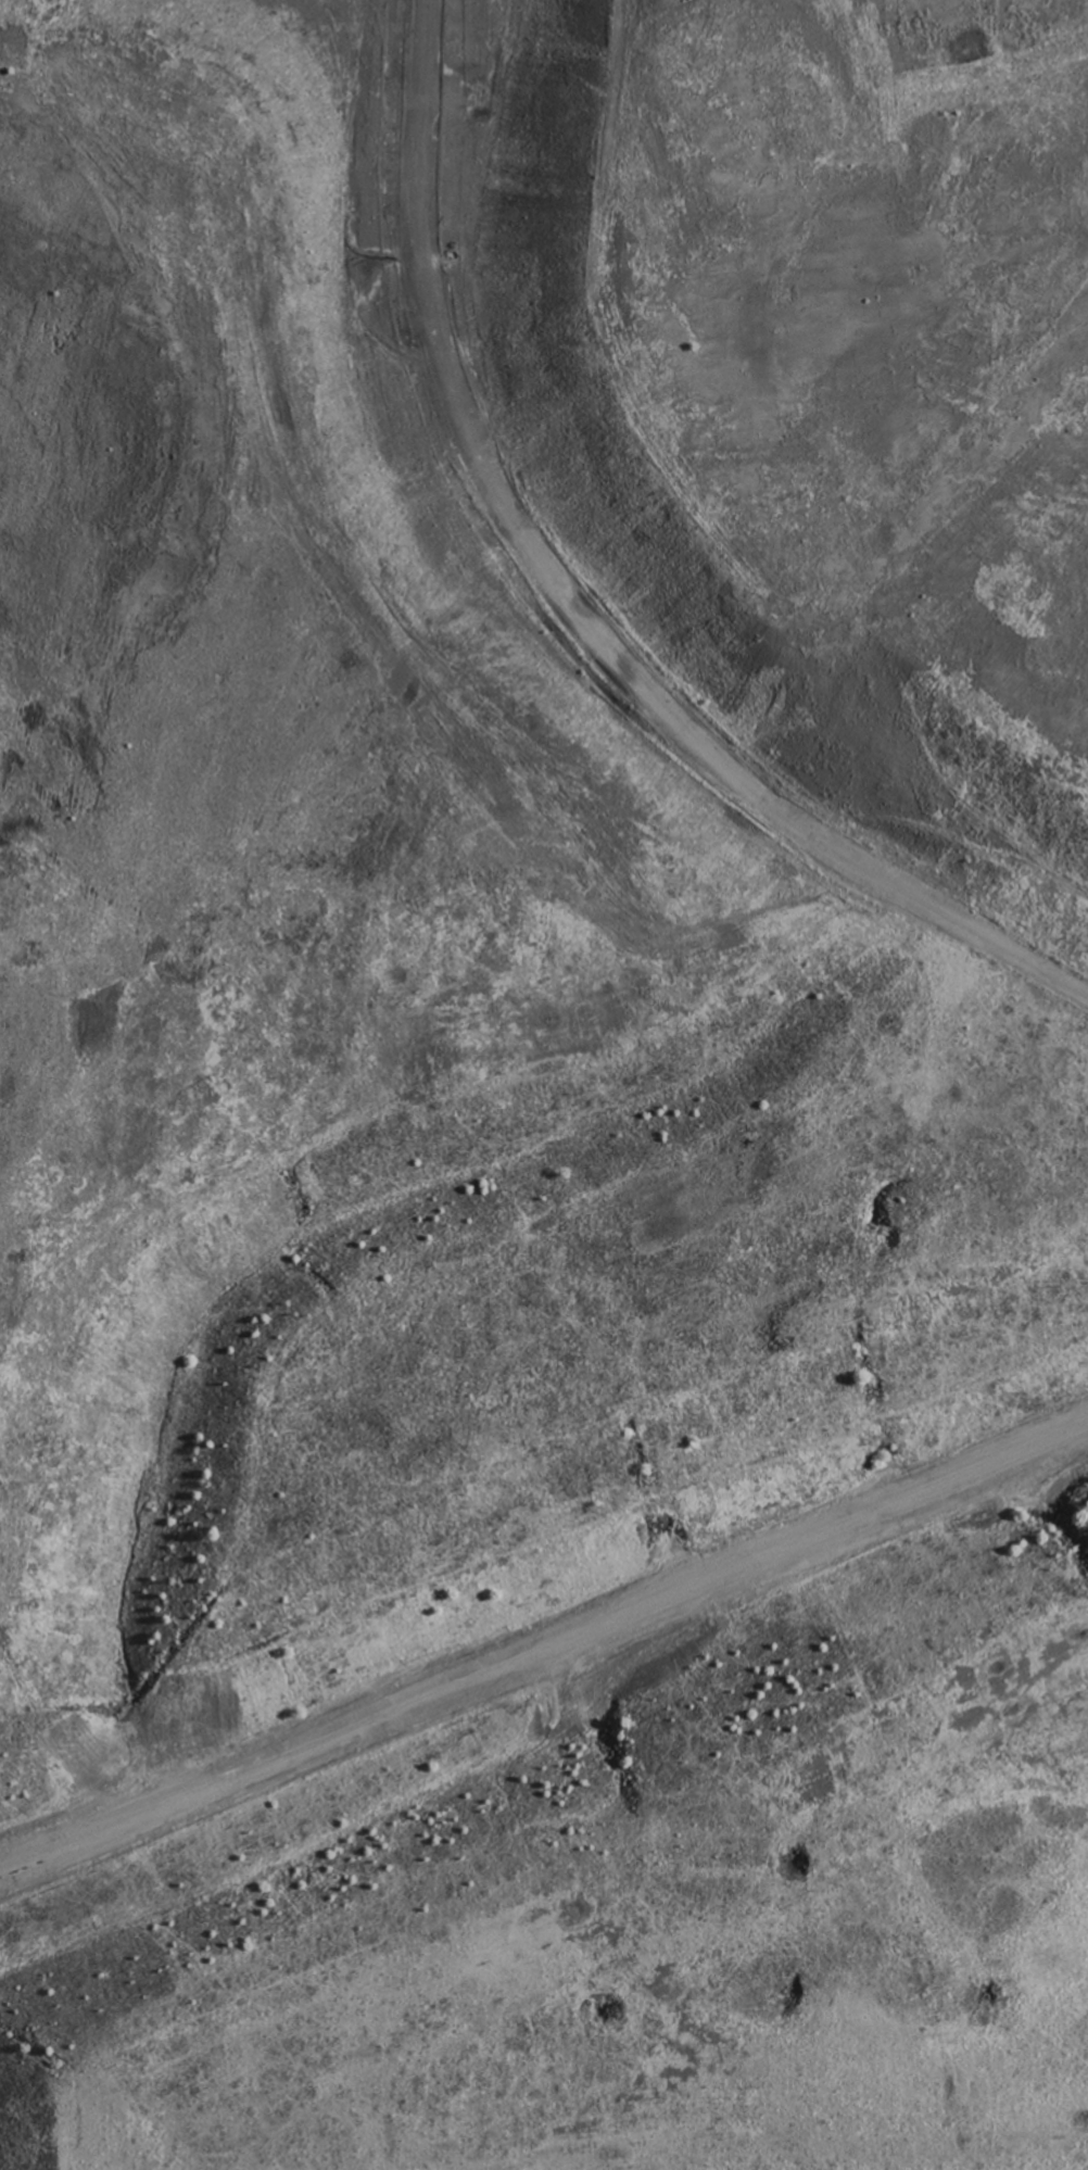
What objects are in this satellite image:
quarry: (521, 880)
road: (557, 1698)

